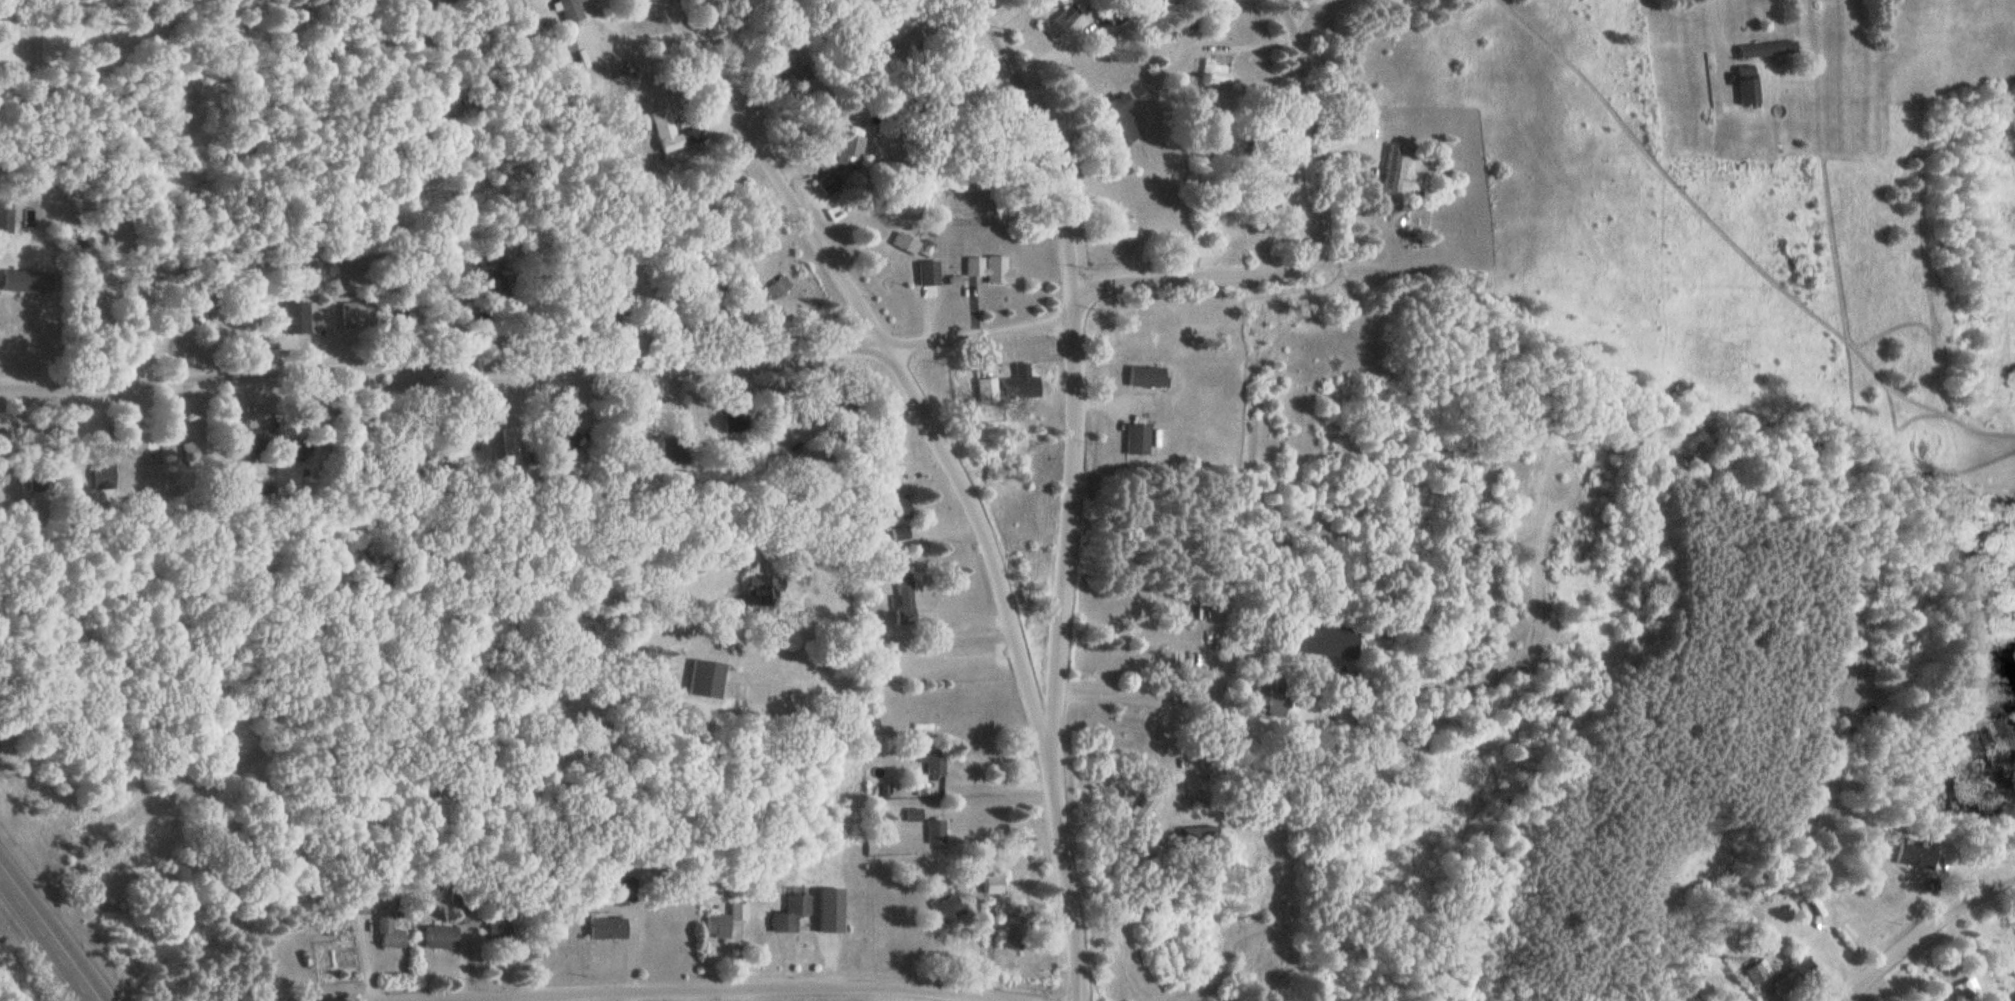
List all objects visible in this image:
building: (572, 10)
building: (1767, 48)
building: (1219, 71)
building: (1748, 85)
building: (1122, 118)
building: (851, 148)
building: (1392, 169)
building: (829, 182)
building: (6, 220)
building: (1125, 229)
building: (906, 242)
road: (1320, 250)
building: (989, 267)
building: (928, 273)
building: (27, 280)
building: (779, 288)
road: (1076, 302)
building: (349, 313)
building: (297, 317)
road: (538, 362)
building: (1018, 383)
building: (988, 390)
building: (1139, 439)
building: (193, 454)
road: (959, 468)
building: (900, 508)
building: (901, 532)
building: (761, 588)
building: (904, 601)
building: (1167, 666)
building: (707, 679)
building: (1279, 707)
road: (1059, 712)
building: (880, 743)
road: (283, 746)
building: (937, 763)
building: (1144, 809)
building: (936, 831)
building: (1203, 834)
building: (1917, 855)
building: (995, 883)
building: (947, 908)
building: (833, 910)
building: (789, 916)
building: (725, 921)
building: (608, 928)
road: (52, 929)
building: (495, 929)
building: (1018, 931)
building: (389, 932)
road: (1925, 936)
building: (442, 937)
building: (2012, 964)
building: (1803, 970)
building: (1757, 973)
road: (662, 988)
building: (1944, 1000)

